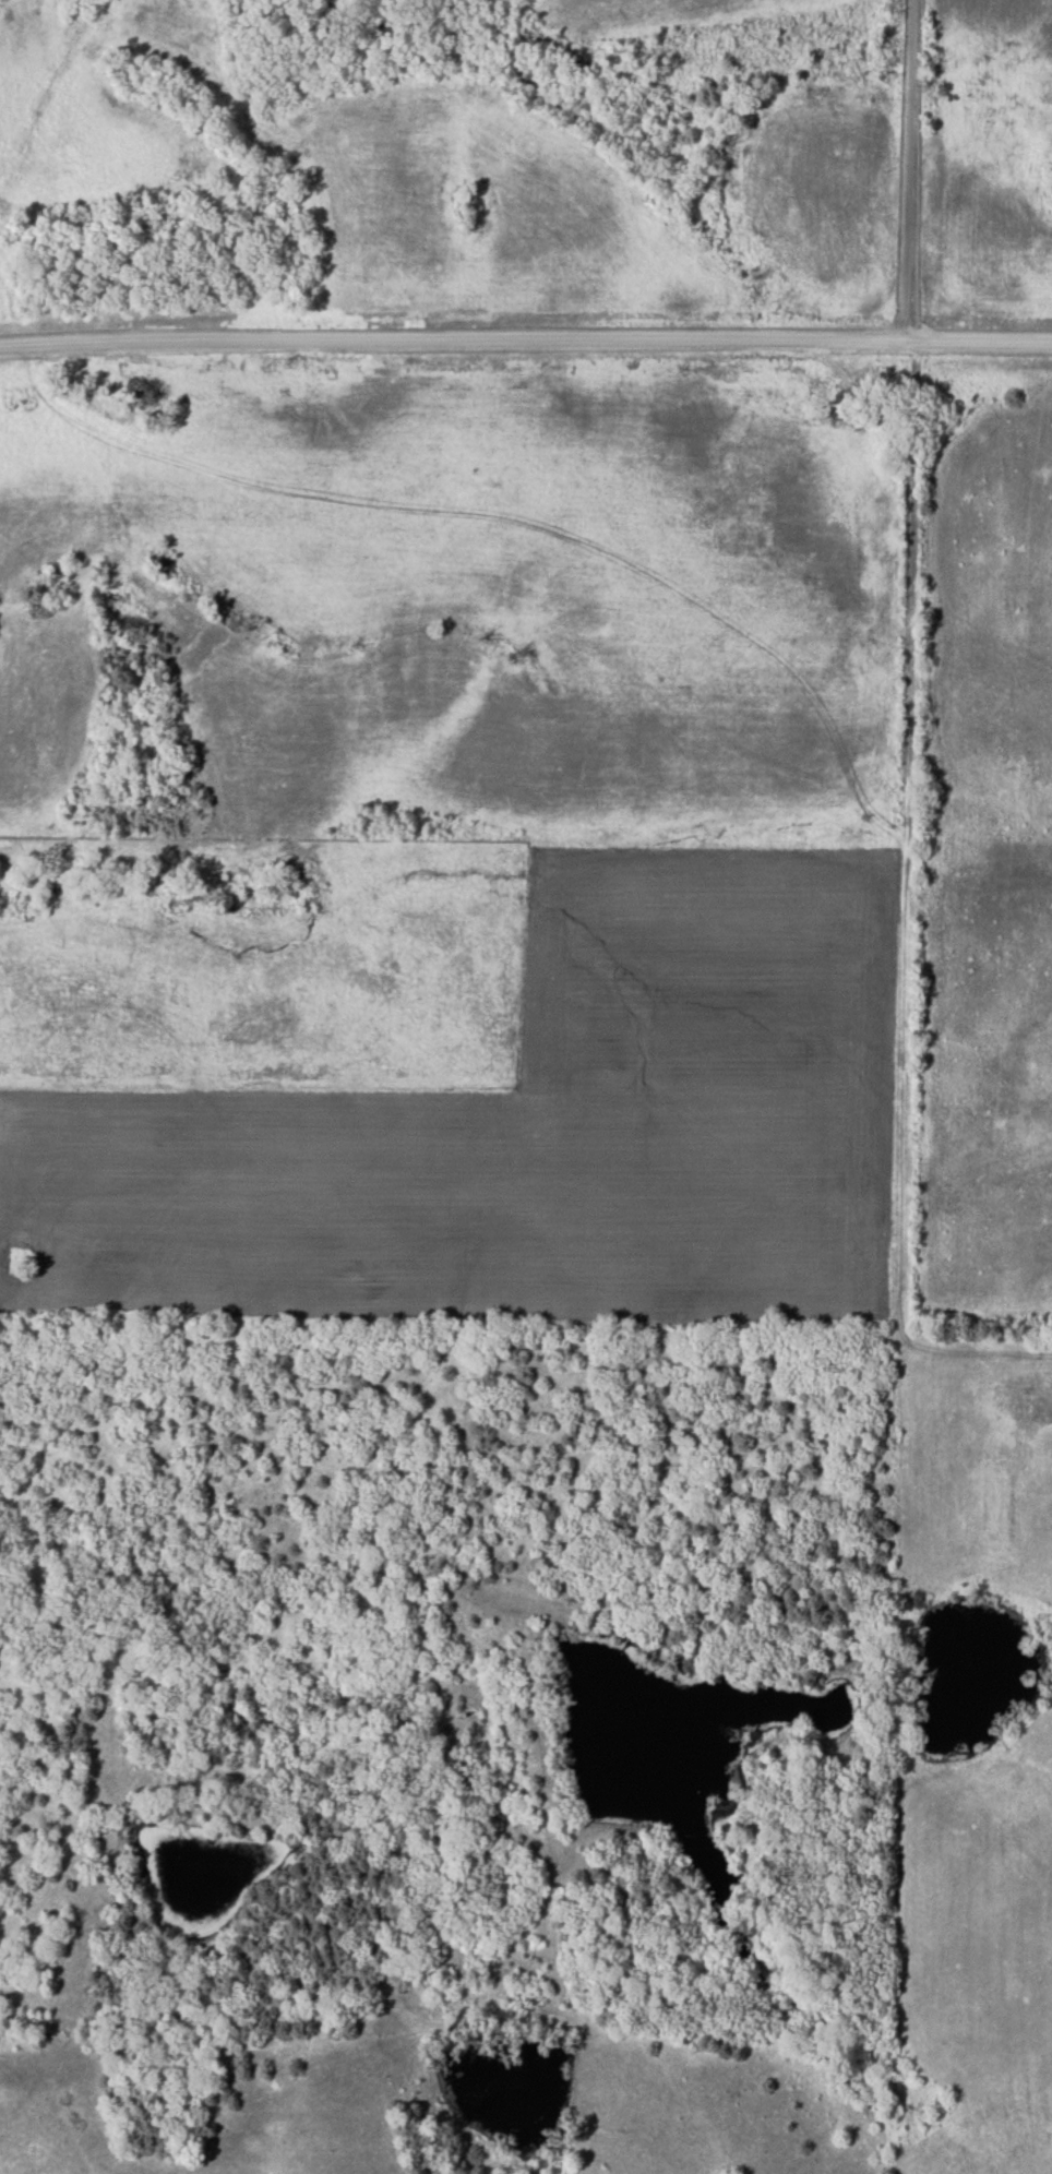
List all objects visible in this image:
road: (913, 170)
road: (525, 338)

